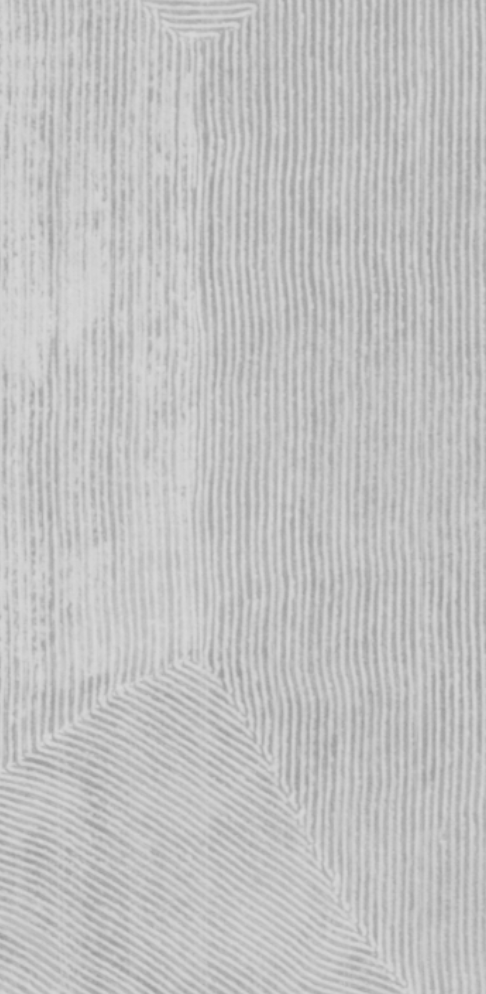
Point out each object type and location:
crop: (243, 497)

